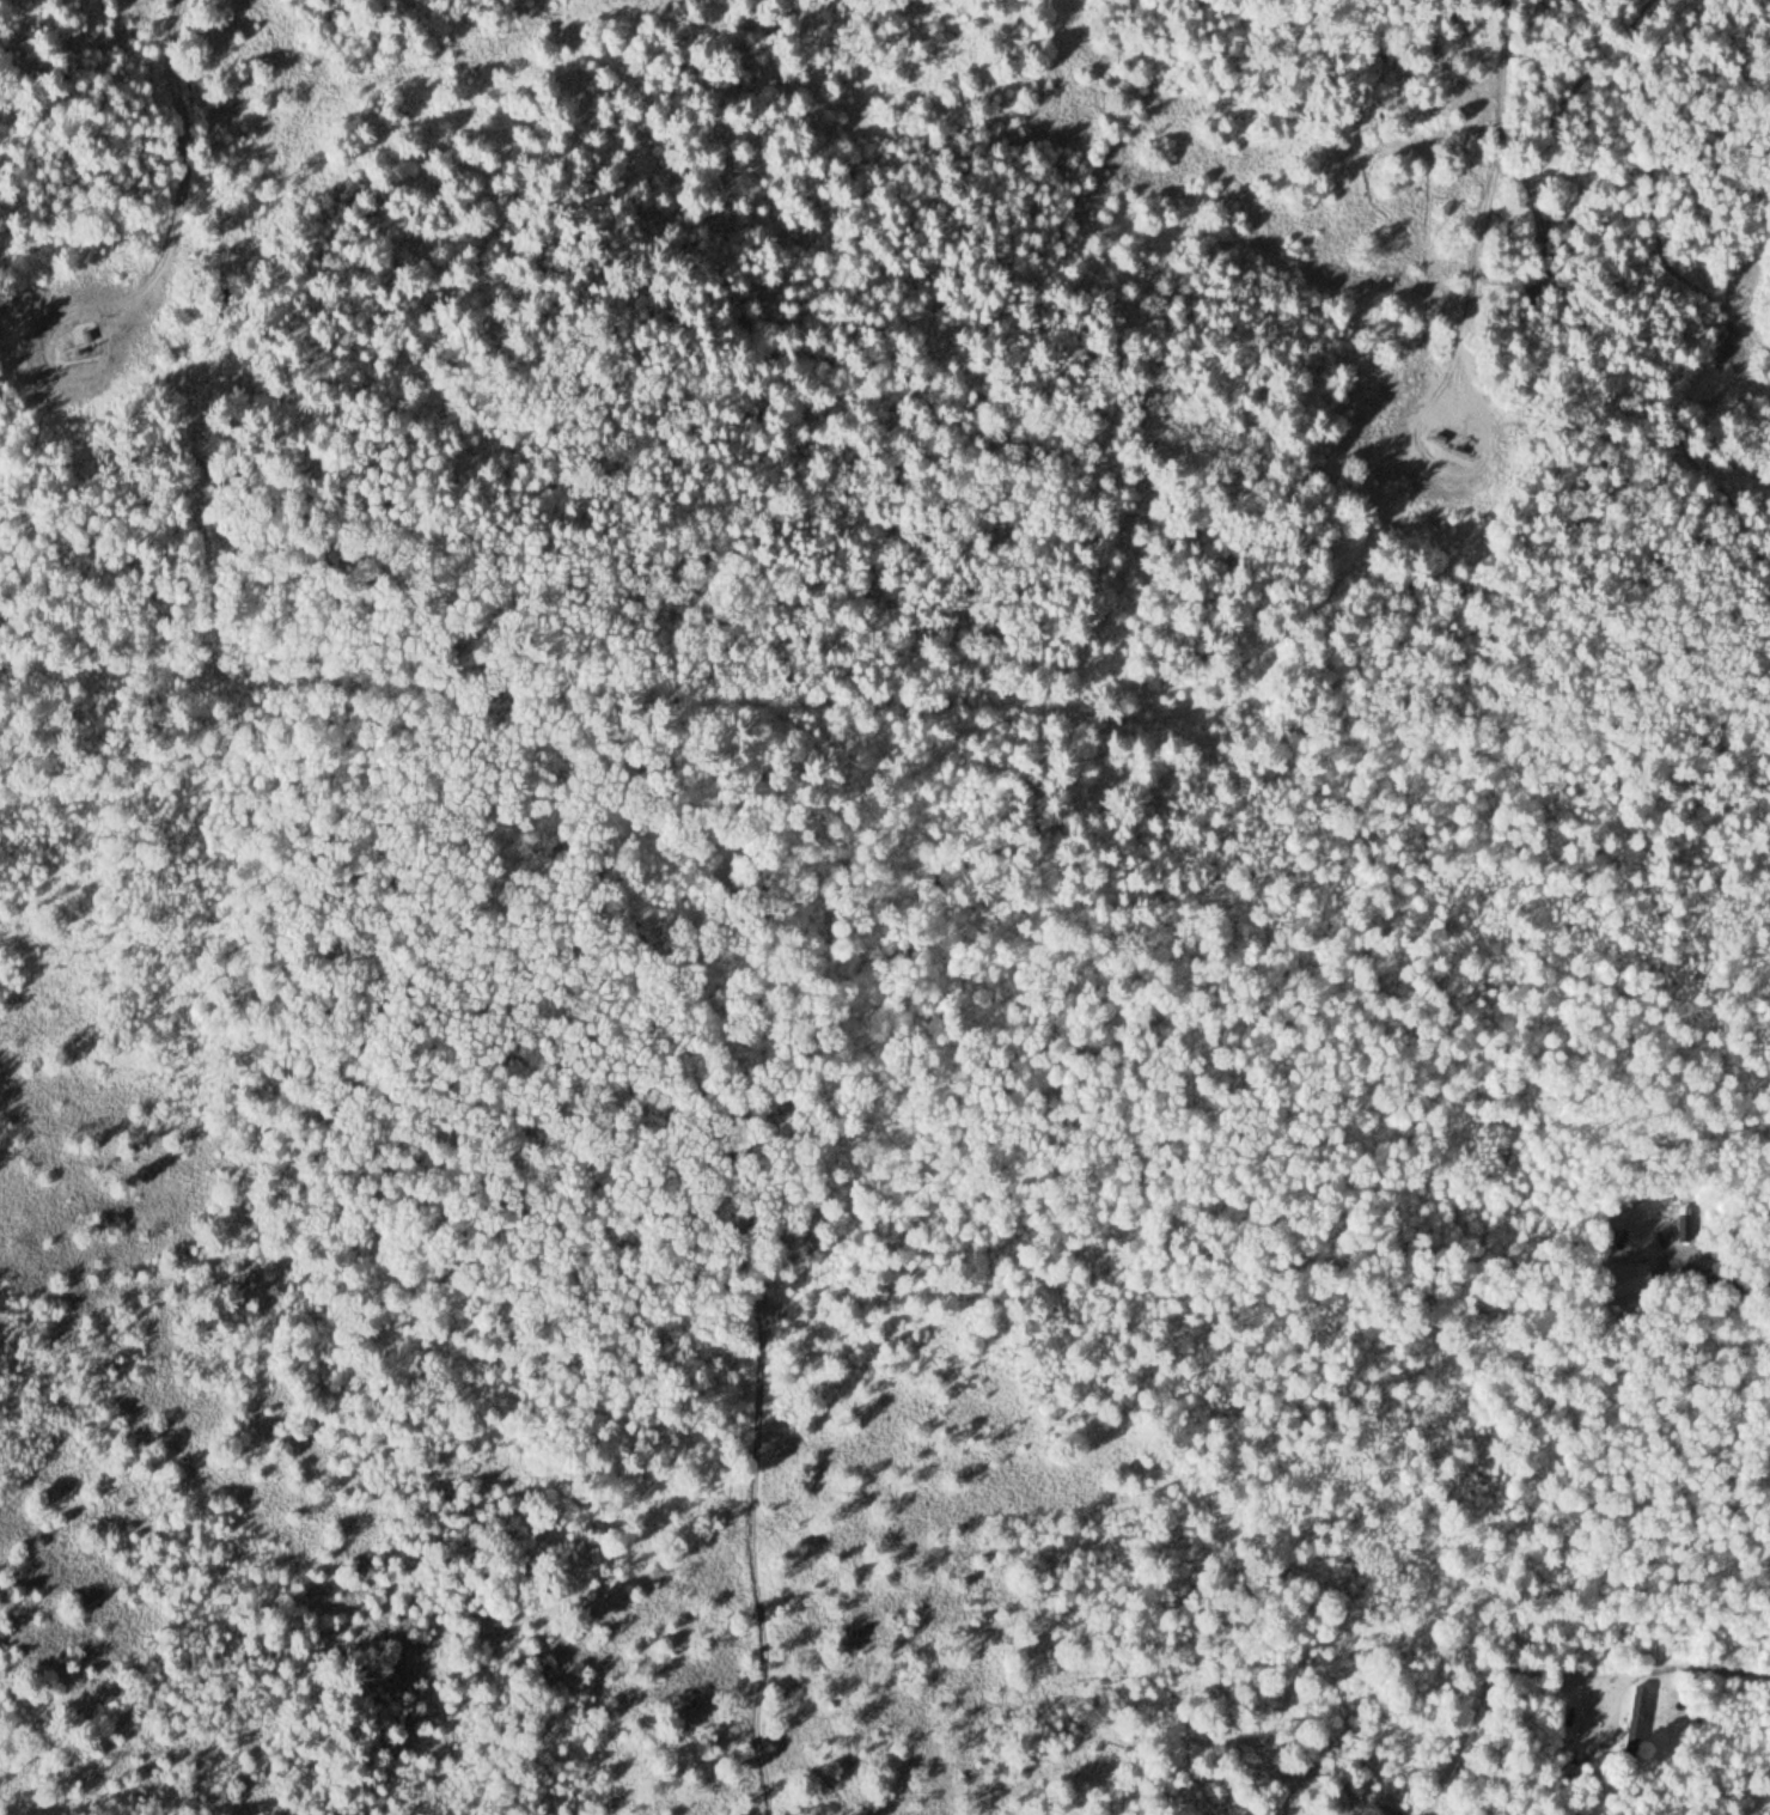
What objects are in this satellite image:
building: (1624, 1278)
building: (1635, 1719)
building: (1570, 1768)

